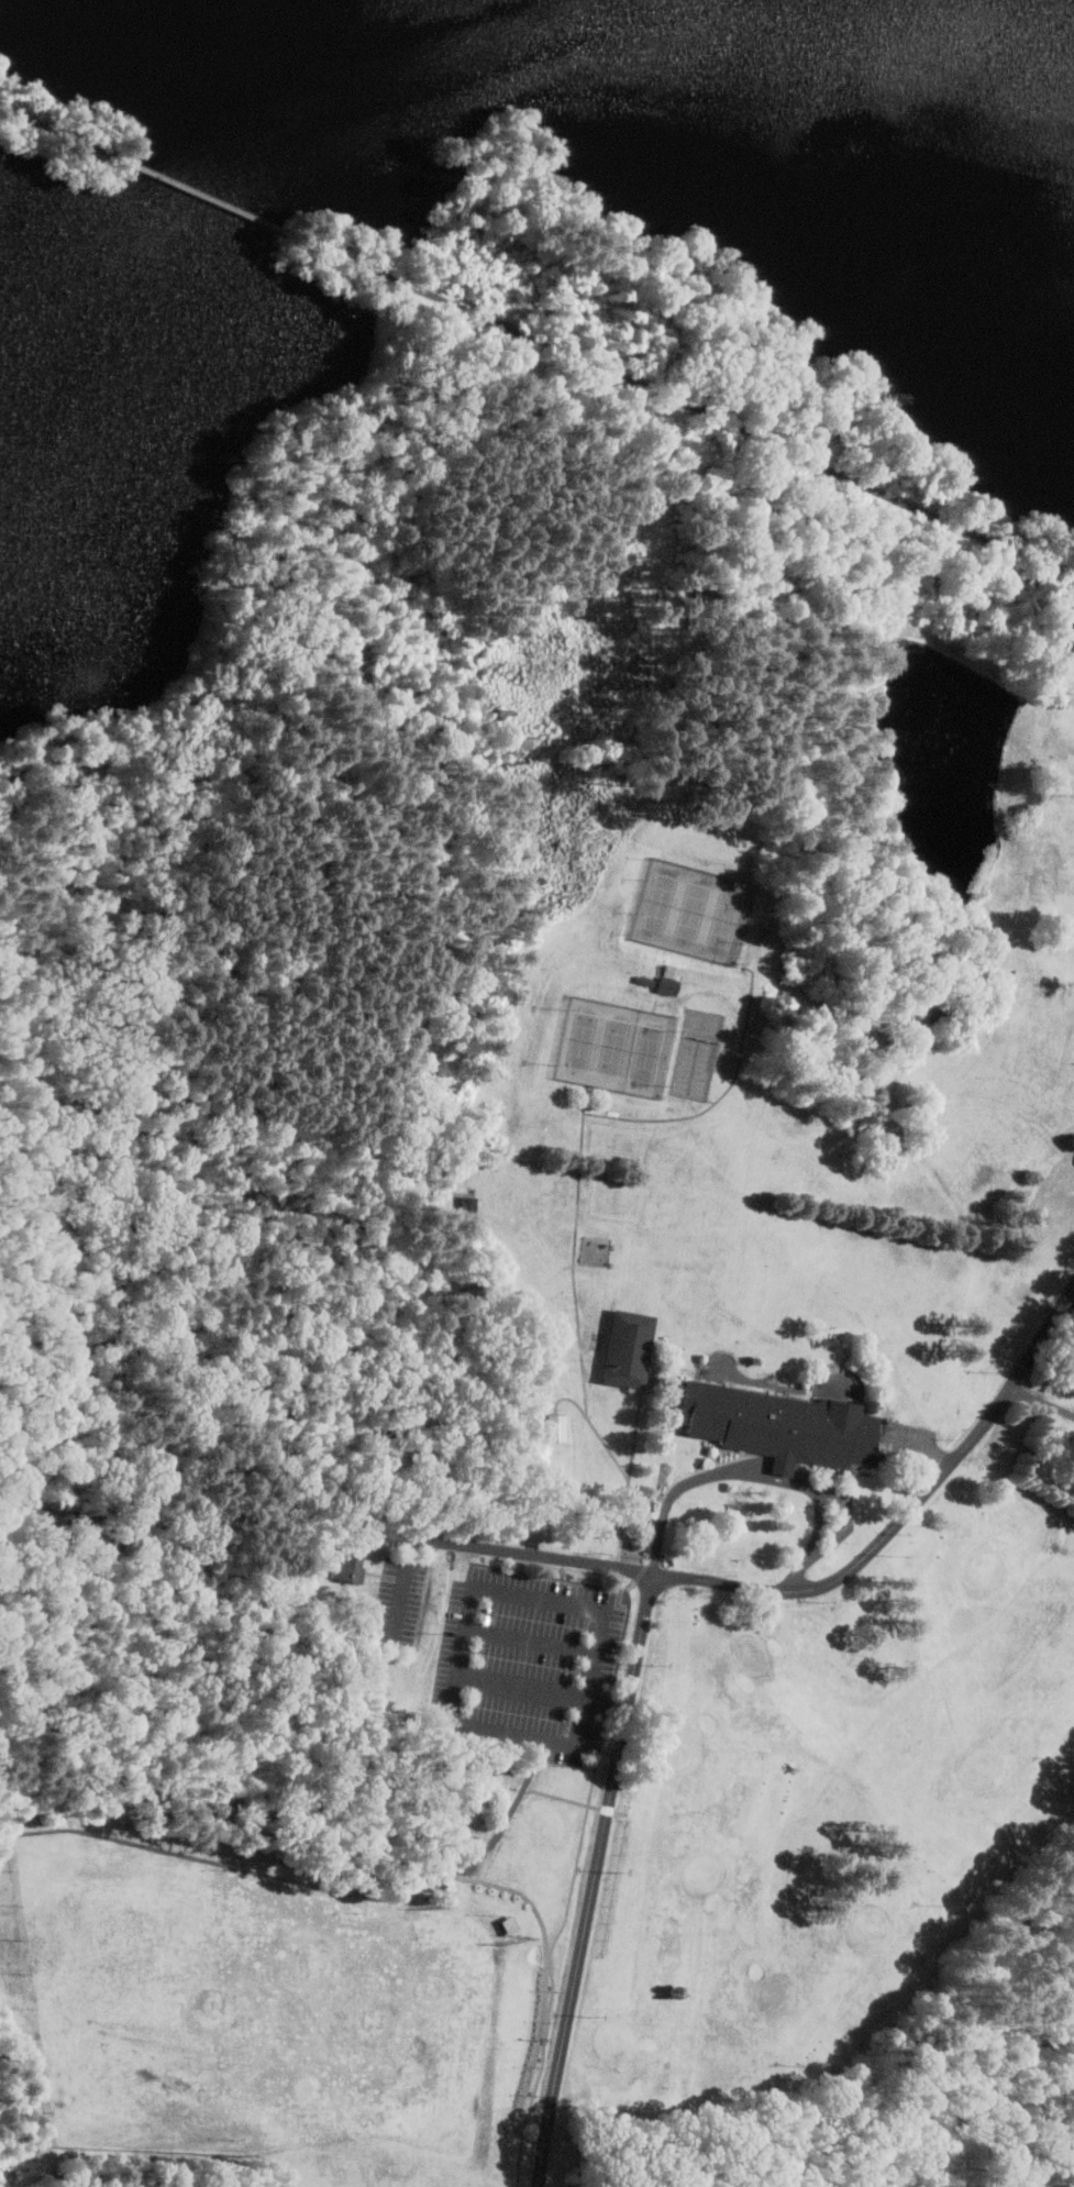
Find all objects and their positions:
road: (66, 130)
road: (217, 198)
road: (689, 401)
road: (277, 629)
park: (697, 909)
road: (55, 941)
building: (668, 979)
park: (620, 1045)
building: (465, 1204)
park: (554, 1302)
building: (633, 1349)
road: (1043, 1399)
building: (777, 1423)
building: (561, 1428)
road: (927, 1445)
road: (112, 1465)
road: (757, 1472)
parking lot: (845, 1518)
road: (839, 1522)
building: (351, 1566)
road: (403, 1591)
road: (782, 1591)
parking lot: (400, 1604)
road: (534, 1638)
road: (465, 1653)
parking lot: (528, 1659)
road: (525, 1686)
park: (829, 1802)
road: (596, 1879)
park: (275, 2008)

